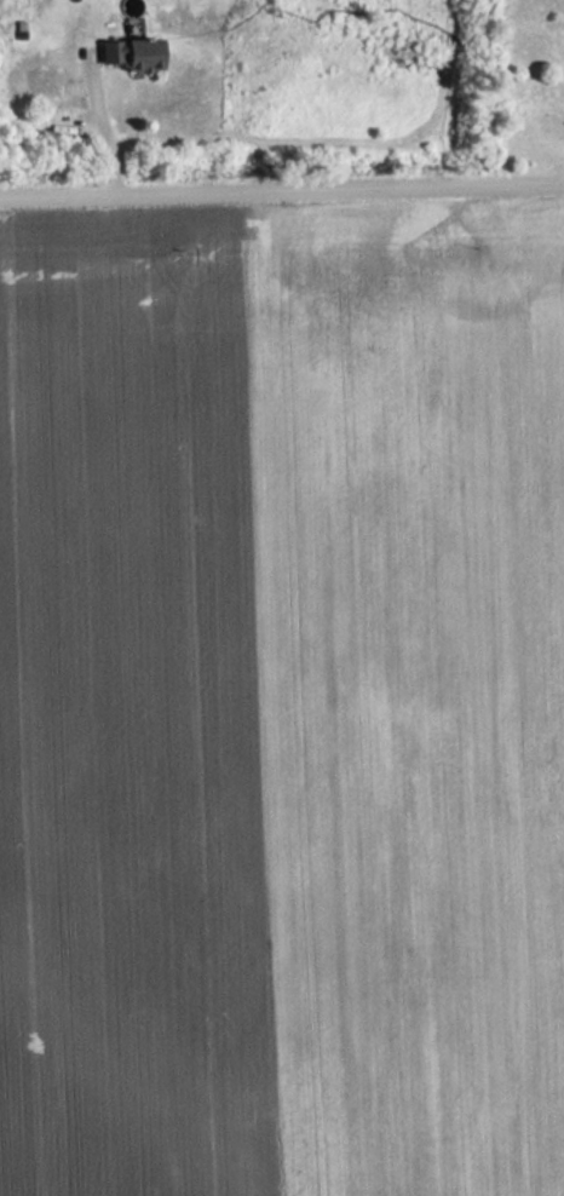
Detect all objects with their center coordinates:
building: (134, 52)
road: (282, 190)

